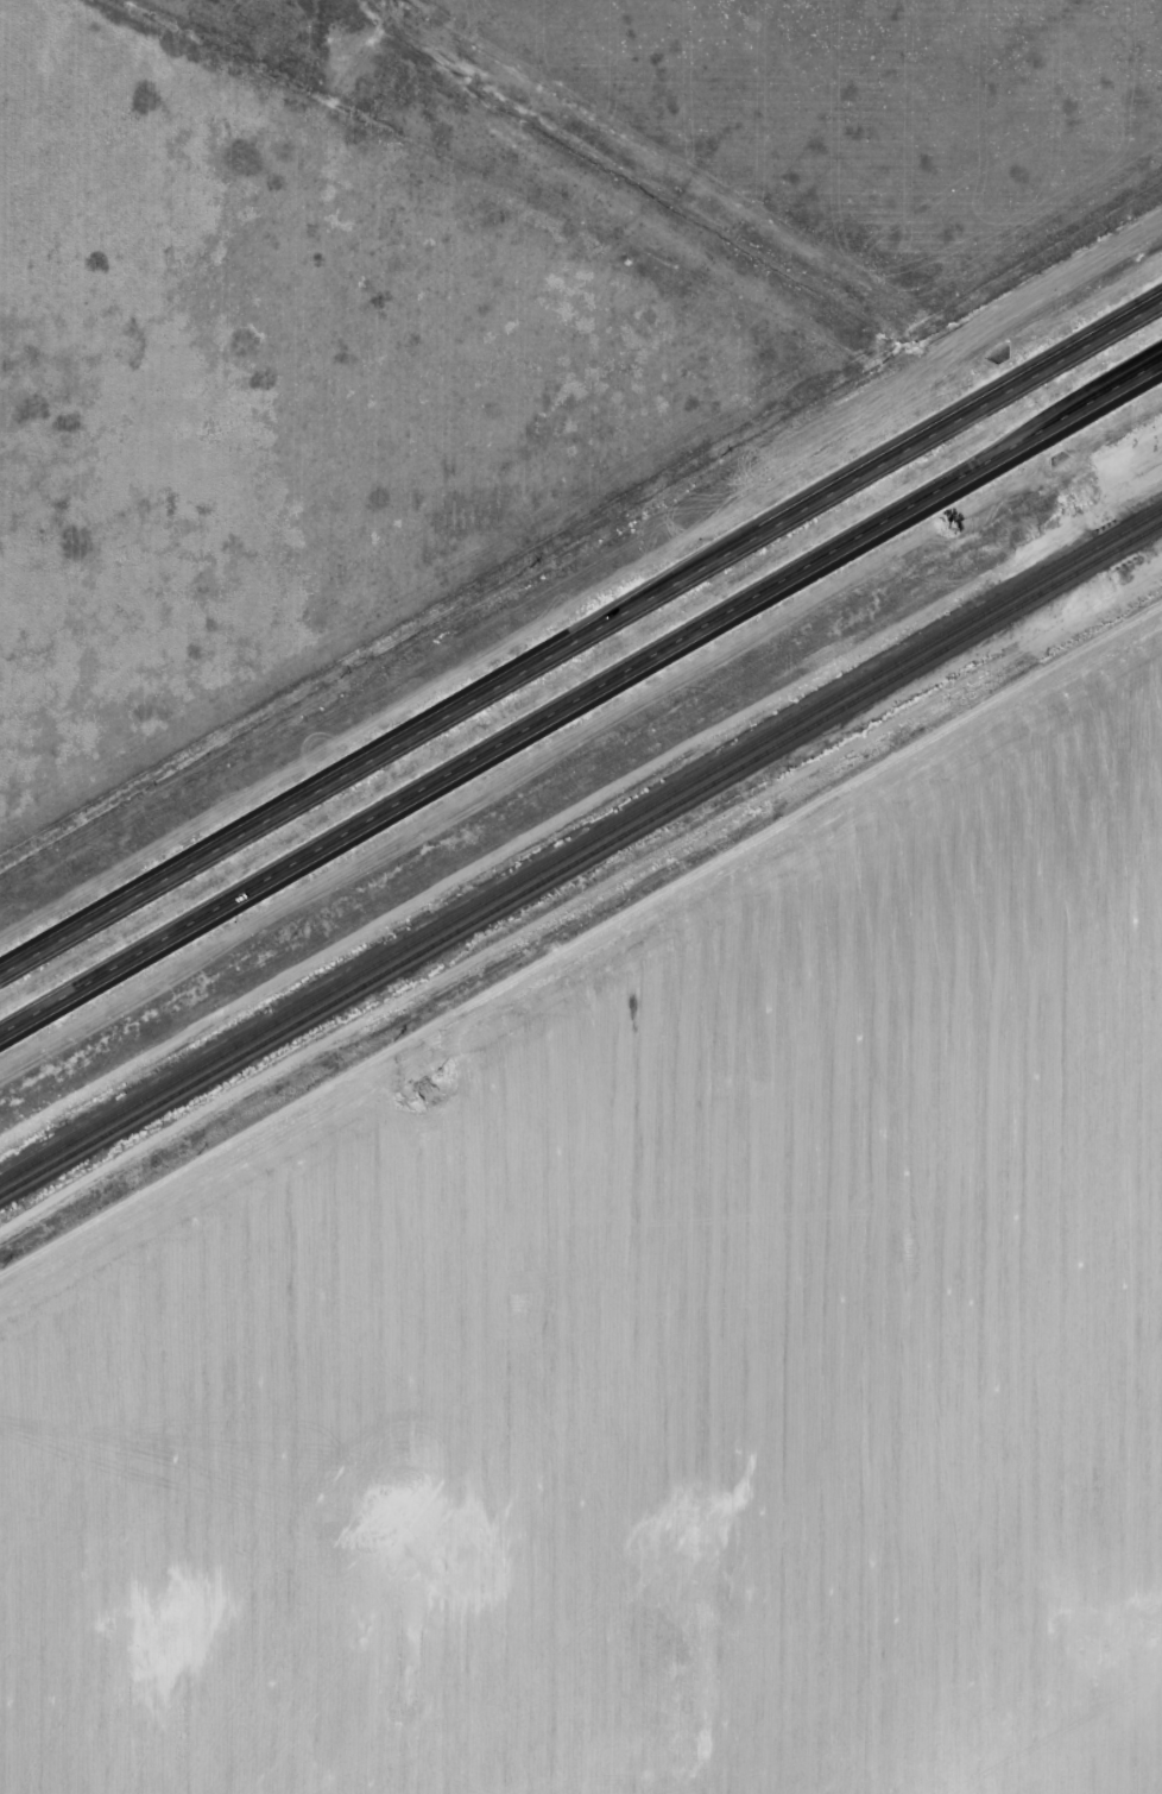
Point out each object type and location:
road: (581, 637)
road: (580, 700)
railway: (580, 846)
railway: (581, 861)

